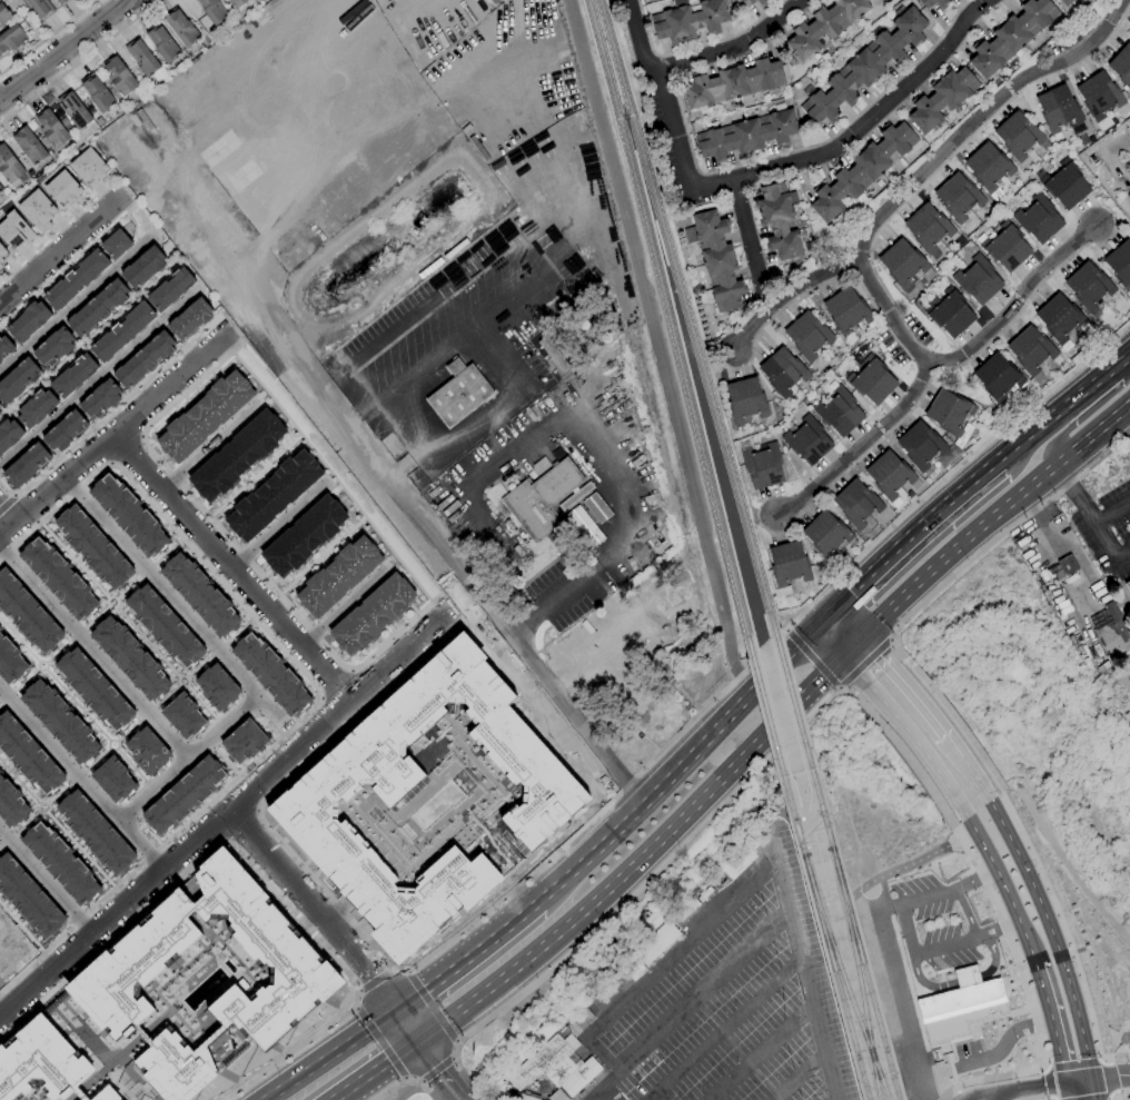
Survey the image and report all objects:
building: (879, 0)
building: (880, 0)
building: (62, 2)
building: (237, 2)
building: (1064, 2)
building: (762, 6)
building: (41, 8)
building: (941, 8)
building: (214, 10)
building: (4, 14)
building: (690, 21)
building: (825, 26)
building: (182, 28)
building: (1129, 29)
building: (1012, 36)
road: (48, 37)
building: (12, 38)
road: (641, 38)
building: (162, 43)
road: (733, 49)
road: (65, 52)
building: (142, 58)
road: (79, 62)
building: (1122, 65)
building: (865, 67)
building: (120, 76)
building: (734, 83)
building: (97, 93)
building: (1101, 98)
building: (942, 99)
building: (75, 109)
building: (1060, 111)
road: (624, 116)
road: (979, 117)
building: (52, 128)
building: (747, 136)
building: (1018, 136)
building: (30, 146)
road: (811, 158)
building: (87, 165)
building: (11, 168)
building: (989, 168)
building: (862, 170)
building: (1121, 174)
building: (1065, 185)
building: (62, 188)
building: (1, 189)
building: (958, 197)
road: (126, 202)
road: (195, 205)
building: (37, 209)
building: (1039, 218)
building: (779, 220)
building: (682, 221)
road: (57, 227)
building: (929, 228)
building: (13, 230)
road: (747, 231)
building: (115, 244)
building: (1007, 247)
road: (60, 249)
building: (1, 254)
building: (716, 260)
road: (542, 262)
building: (904, 264)
building: (1120, 264)
building: (0, 266)
building: (142, 266)
road: (66, 267)
building: (75, 279)
building: (979, 279)
building: (1089, 286)
building: (169, 288)
road: (789, 294)
road: (1018, 301)
road: (76, 304)
building: (96, 307)
building: (846, 310)
building: (948, 311)
railway: (686, 316)
road: (892, 316)
building: (189, 318)
building: (1060, 319)
building: (27, 321)
railway: (670, 327)
building: (120, 331)
building: (809, 335)
road: (87, 340)
building: (4, 347)
building: (52, 347)
building: (1031, 350)
building: (556, 351)
building: (0, 360)
building: (143, 360)
road: (1120, 361)
building: (783, 371)
building: (72, 375)
road: (99, 376)
building: (998, 377)
building: (17, 378)
road: (402, 380)
building: (872, 380)
building: (459, 393)
road: (1080, 394)
building: (99, 398)
building: (745, 400)
building: (0, 408)
building: (36, 408)
building: (840, 410)
road: (1128, 412)
road: (109, 413)
building: (950, 413)
building: (204, 416)
building: (63, 430)
road: (1092, 433)
building: (8, 434)
road: (112, 435)
road: (141, 437)
road: (1023, 439)
building: (807, 440)
road: (1050, 442)
road: (860, 445)
building: (921, 445)
road: (210, 446)
road: (123, 449)
road: (371, 453)
building: (0, 454)
building: (236, 455)
road: (108, 464)
building: (24, 465)
road: (404, 466)
building: (763, 466)
road: (252, 474)
road: (330, 475)
building: (890, 475)
road: (944, 480)
road: (1063, 487)
road: (12, 495)
building: (271, 495)
building: (543, 495)
building: (576, 496)
road: (6, 503)
building: (856, 504)
road: (1112, 511)
building: (127, 514)
road: (6, 516)
road: (1092, 516)
road: (278, 523)
building: (585, 526)
road: (914, 531)
building: (826, 534)
building: (303, 535)
road: (230, 543)
road: (958, 546)
building: (92, 547)
road: (168, 551)
road: (320, 555)
road: (73, 561)
road: (231, 565)
building: (789, 566)
building: (1068, 566)
road: (145, 571)
building: (338, 576)
building: (57, 577)
building: (1128, 585)
road: (942, 586)
road: (127, 588)
road: (562, 592)
building: (198, 594)
road: (109, 597)
road: (345, 606)
traffic signals: (836, 606)
road: (182, 611)
building: (27, 614)
building: (371, 614)
road: (95, 616)
road: (824, 618)
road: (850, 620)
building: (163, 627)
road: (238, 630)
road: (789, 631)
traffic signals: (812, 631)
building: (1113, 632)
traffic signals: (864, 633)
road: (76, 634)
road: (890, 637)
road: (18, 641)
road: (146, 642)
road: (826, 644)
road: (852, 645)
road: (898, 646)
road: (879, 648)
road: (216, 650)
road: (92, 651)
road: (57, 652)
building: (128, 657)
traffic signals: (841, 657)
road: (394, 658)
road: (813, 660)
building: (10, 661)
road: (38, 661)
road: (863, 662)
road: (198, 667)
road: (350, 668)
road: (854, 670)
building: (269, 673)
road: (395, 677)
road: (186, 678)
road: (24, 680)
road: (336, 684)
road: (315, 685)
building: (216, 686)
road: (839, 687)
building: (93, 691)
road: (846, 691)
road: (166, 695)
road: (6, 696)
road: (320, 698)
road: (922, 698)
road: (76, 705)
road: (204, 706)
road: (146, 713)
building: (547, 713)
building: (182, 715)
building: (58, 721)
road: (954, 722)
road: (127, 731)
building: (242, 741)
road: (117, 743)
road: (955, 745)
road: (920, 746)
building: (146, 750)
building: (578, 755)
building: (27, 756)
road: (909, 756)
road: (187, 757)
road: (96, 759)
road: (221, 759)
road: (133, 769)
road: (677, 769)
building: (0, 772)
road: (76, 776)
road: (977, 776)
road: (79, 779)
building: (112, 779)
road: (19, 783)
road: (57, 794)
building: (184, 794)
building: (308, 797)
building: (10, 803)
road: (46, 805)
road: (26, 822)
road: (238, 825)
road: (586, 825)
building: (95, 832)
road: (7, 839)
road: (281, 844)
road: (79, 850)
road: (174, 854)
road: (636, 859)
building: (59, 862)
railway: (834, 865)
road: (905, 866)
road: (182, 874)
railway: (807, 878)
road: (43, 882)
road: (744, 882)
road: (640, 886)
road: (1005, 888)
building: (28, 898)
road: (315, 909)
road: (965, 912)
road: (1069, 922)
road: (21, 929)
road: (905, 933)
road: (1051, 934)
building: (657, 943)
road: (467, 958)
road: (955, 967)
road: (963, 967)
road: (14, 968)
road: (391, 969)
building: (633, 969)
road: (407, 971)
railway: (856, 973)
building: (119, 974)
road: (940, 977)
railway: (842, 978)
road: (375, 980)
road: (962, 980)
road: (942, 987)
road: (358, 991)
road: (899, 991)
road: (1025, 992)
road: (696, 997)
road: (432, 1005)
building: (959, 1005)
road: (356, 1007)
traffic signals: (396, 1011)
road: (1001, 1017)
building: (579, 1022)
road: (1053, 1022)
road: (715, 1034)
road: (1116, 1037)
road: (457, 1041)
road: (380, 1042)
traffic signals: (416, 1042)
road: (1005, 1042)
road: (297, 1047)
road: (951, 1047)
road: (330, 1056)
road: (425, 1056)
road: (454, 1058)
road: (749, 1061)
road: (1102, 1061)
building: (41, 1062)
road: (1072, 1066)
building: (556, 1067)
road: (1043, 1067)
road: (436, 1069)
road: (374, 1070)
road: (1111, 1077)
road: (1110, 1078)
traffic signals: (1092, 1079)
road: (403, 1080)
road: (419, 1081)
road: (1079, 1081)
road: (407, 1083)
road: (1048, 1083)
traffic signals: (1067, 1083)
road: (787, 1086)
road: (603, 1087)
road: (1093, 1089)
road: (1020, 1090)
road: (1067, 1091)
building: (106, 1093)
road: (611, 1093)
road: (958, 1094)
building: (557, 1096)
road: (1112, 1096)
building: (525, 1097)
road: (1110, 1097)
road: (935, 1098)
road: (1097, 1098)
road: (458, 1099)
road: (973, 1099)
road: (974, 1099)
road: (1052, 1099)

